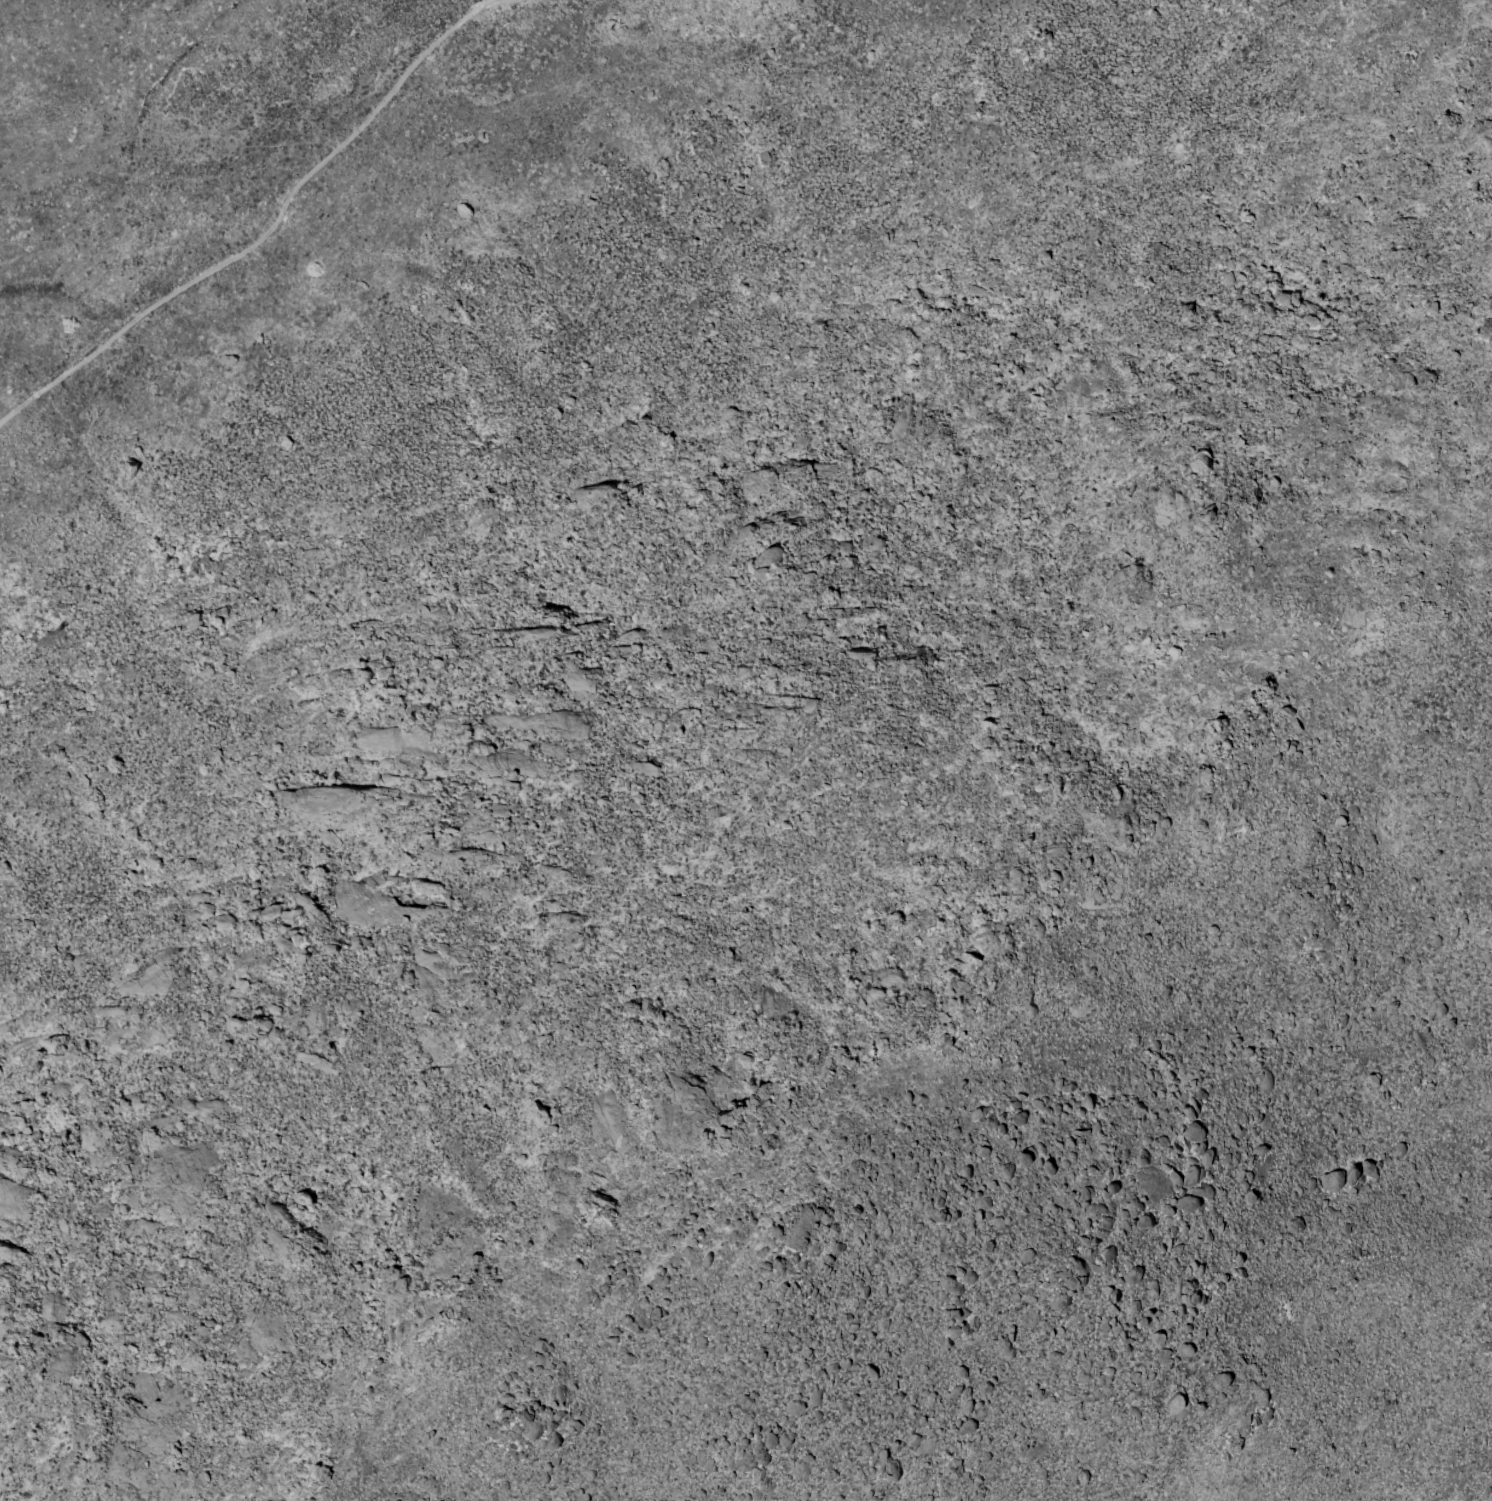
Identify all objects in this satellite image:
road: (273, 225)

